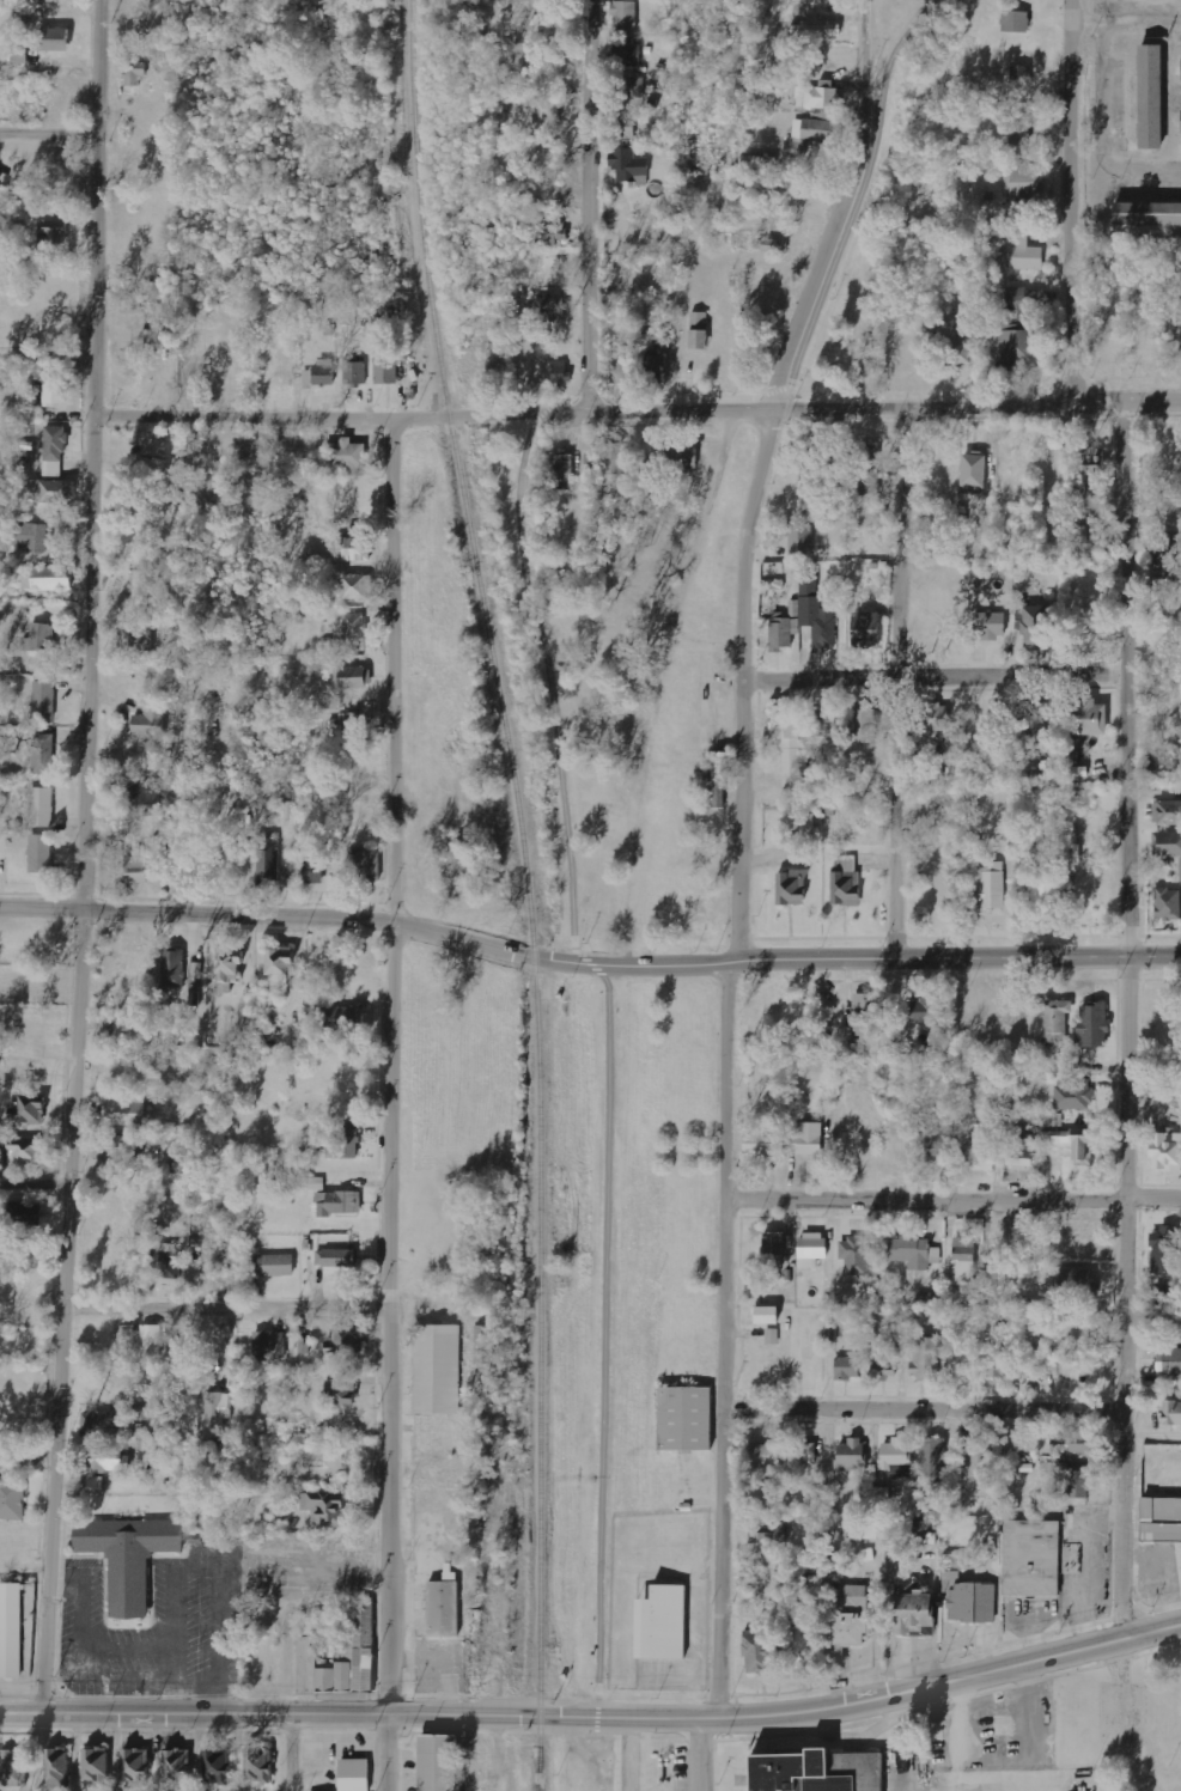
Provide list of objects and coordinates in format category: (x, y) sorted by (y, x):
building: (815, 2)
building: (625, 17)
building: (1013, 22)
road: (1140, 23)
building: (816, 30)
building: (51, 38)
road: (873, 42)
building: (626, 51)
building: (19, 54)
building: (1180, 69)
building: (135, 72)
building: (1018, 81)
building: (632, 87)
building: (821, 96)
building: (1149, 98)
building: (546, 115)
building: (1180, 123)
building: (623, 127)
building: (1019, 128)
road: (53, 129)
building: (808, 133)
road: (1101, 133)
building: (628, 166)
building: (1025, 181)
building: (793, 187)
road: (1070, 202)
road: (589, 205)
building: (1145, 215)
building: (53, 223)
building: (549, 234)
building: (51, 236)
building: (773, 245)
road: (827, 245)
building: (1021, 254)
building: (1022, 298)
building: (550, 309)
building: (696, 330)
building: (954, 348)
building: (1015, 348)
road: (55, 353)
building: (389, 361)
building: (619, 364)
building: (655, 366)
building: (560, 372)
building: (357, 373)
building: (319, 374)
building: (55, 392)
road: (645, 408)
building: (54, 451)
building: (346, 457)
building: (682, 457)
building: (614, 458)
building: (1089, 462)
building: (869, 469)
building: (561, 470)
building: (972, 474)
railway: (459, 481)
building: (56, 492)
building: (32, 536)
building: (802, 540)
building: (352, 549)
building: (48, 578)
building: (809, 583)
building: (357, 587)
building: (142, 589)
building: (817, 621)
building: (1036, 623)
building: (988, 626)
building: (355, 627)
building: (864, 630)
building: (142, 634)
building: (780, 634)
building: (39, 638)
road: (935, 674)
building: (354, 676)
road: (901, 682)
building: (43, 700)
building: (330, 712)
building: (936, 718)
building: (1085, 718)
building: (150, 719)
building: (824, 721)
building: (863, 724)
building: (785, 731)
road: (555, 732)
building: (43, 754)
building: (718, 778)
building: (142, 792)
building: (42, 808)
building: (287, 810)
building: (1167, 812)
building: (1168, 843)
building: (972, 845)
building: (42, 853)
road: (98, 858)
building: (268, 858)
building: (1180, 861)
building: (313, 864)
building: (135, 865)
building: (367, 866)
building: (845, 883)
building: (992, 885)
building: (1046, 887)
building: (790, 888)
building: (1168, 904)
road: (588, 964)
building: (172, 969)
building: (227, 969)
building: (276, 973)
building: (195, 979)
building: (920, 1011)
road: (1126, 1017)
building: (339, 1019)
building: (1055, 1022)
building: (1092, 1024)
building: (121, 1032)
road: (729, 1060)
road: (390, 1067)
building: (17, 1070)
building: (1075, 1095)
building: (30, 1109)
building: (128, 1109)
building: (804, 1138)
building: (762, 1144)
building: (345, 1145)
building: (982, 1146)
building: (25, 1152)
building: (1021, 1152)
building: (1165, 1152)
building: (104, 1153)
road: (37, 1178)
building: (317, 1184)
road: (952, 1200)
building: (336, 1202)
building: (24, 1213)
building: (773, 1243)
building: (811, 1249)
building: (914, 1251)
building: (856, 1255)
building: (963, 1256)
building: (336, 1257)
building: (169, 1261)
building: (275, 1265)
building: (1072, 1284)
building: (1165, 1294)
road: (230, 1302)
road: (1151, 1311)
building: (763, 1315)
building: (772, 1336)
building: (346, 1339)
building: (151, 1340)
building: (486, 1344)
building: (269, 1345)
building: (926, 1359)
building: (885, 1361)
building: (1169, 1361)
building: (998, 1366)
building: (847, 1367)
building: (432, 1371)
railway: (537, 1375)
building: (339, 1389)
building: (219, 1409)
road: (921, 1412)
building: (1171, 1414)
building: (681, 1420)
building: (1069, 1449)
road: (28, 1450)
building: (803, 1454)
building: (851, 1454)
building: (765, 1455)
building: (978, 1455)
building: (895, 1456)
building: (933, 1460)
building: (102, 1464)
building: (1072, 1482)
building: (12, 1500)
building: (324, 1507)
building: (1161, 1517)
building: (865, 1529)
building: (773, 1531)
building: (124, 1553)
building: (1028, 1561)
building: (952, 1579)
building: (967, 1603)
building: (439, 1610)
building: (911, 1610)
building: (842, 1615)
building: (658, 1626)
building: (8, 1632)
building: (355, 1645)
building: (798, 1646)
building: (756, 1651)
road: (596, 1719)
road: (288, 1754)
road: (385, 1754)
road: (597, 1755)
road: (692, 1755)
building: (433, 1763)
building: (257, 1765)
building: (97, 1766)
building: (177, 1766)
building: (217, 1766)
building: (135, 1767)
building: (13, 1768)
building: (57, 1768)
building: (812, 1772)
building: (349, 1774)

